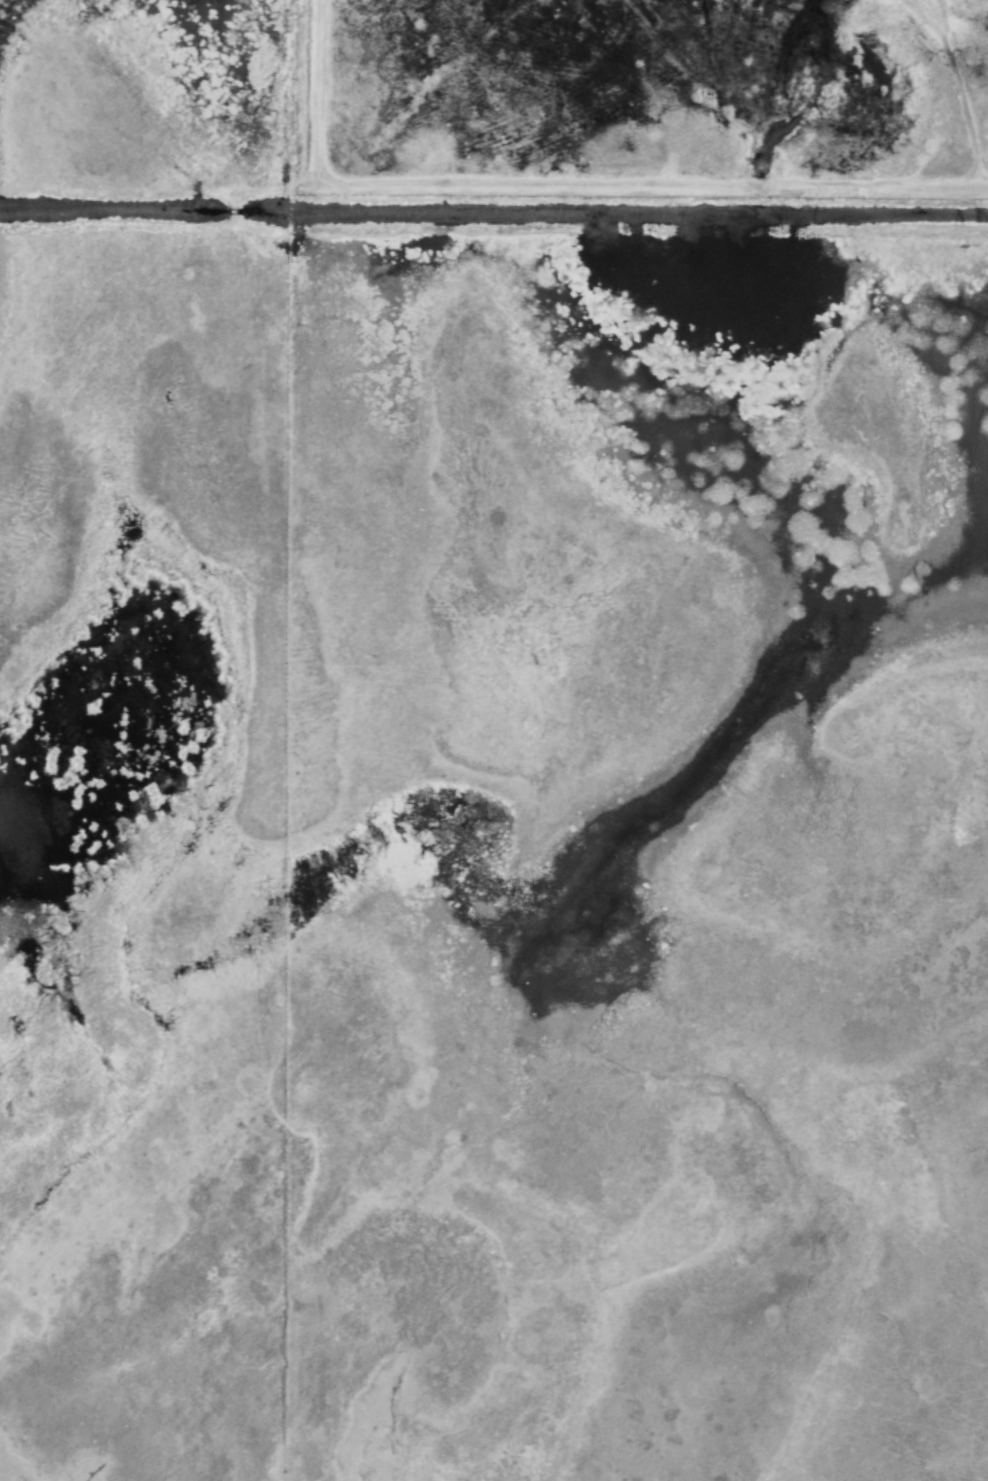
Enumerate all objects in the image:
crop: (931, 678)
crop: (984, 683)
crop: (756, 742)
crop: (79, 865)

